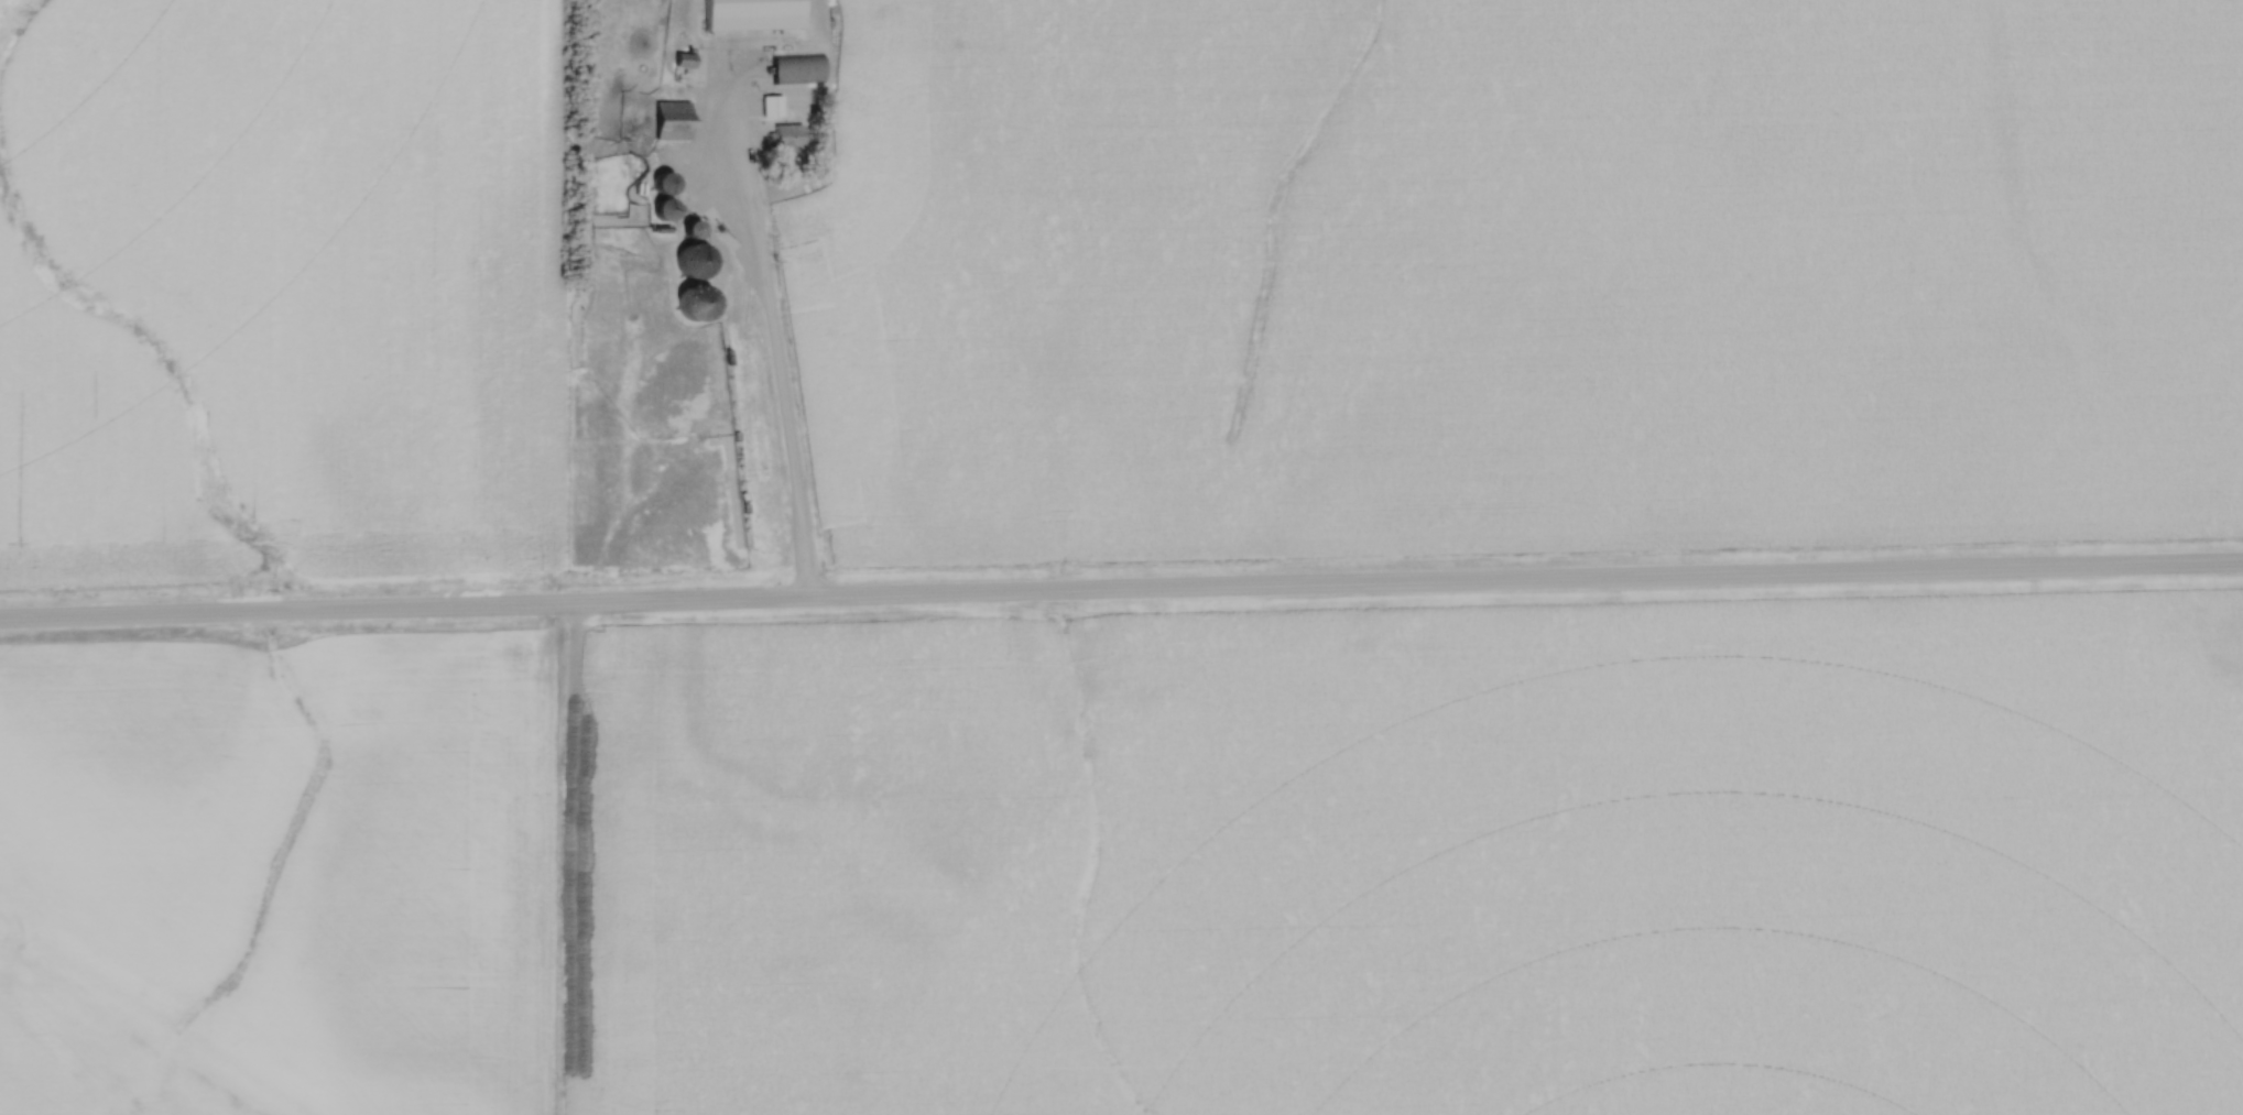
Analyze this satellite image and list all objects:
building: (754, 13)
building: (799, 68)
building: (771, 106)
building: (674, 119)
building: (787, 135)
building: (667, 182)
building: (666, 207)
building: (695, 227)
building: (695, 258)
crop: (1526, 278)
road: (777, 353)
road: (1121, 594)

